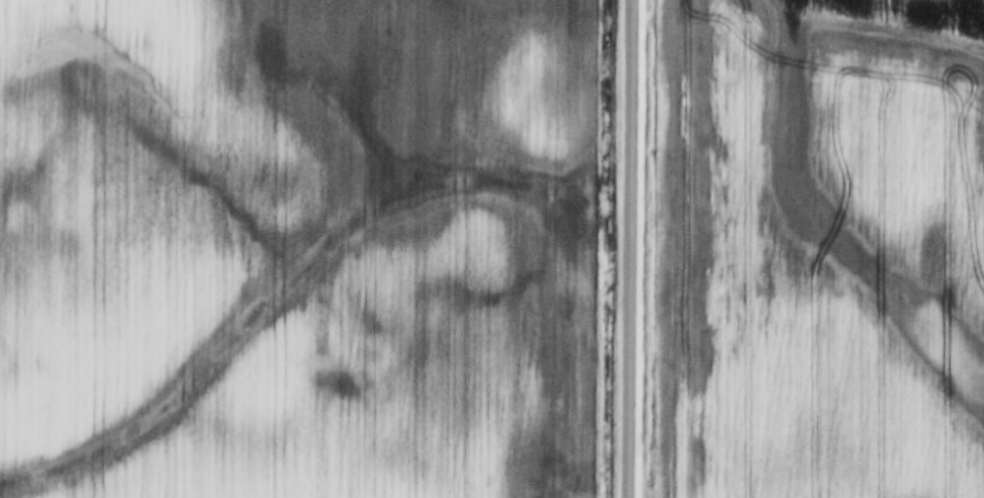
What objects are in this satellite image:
road: (634, 249)

